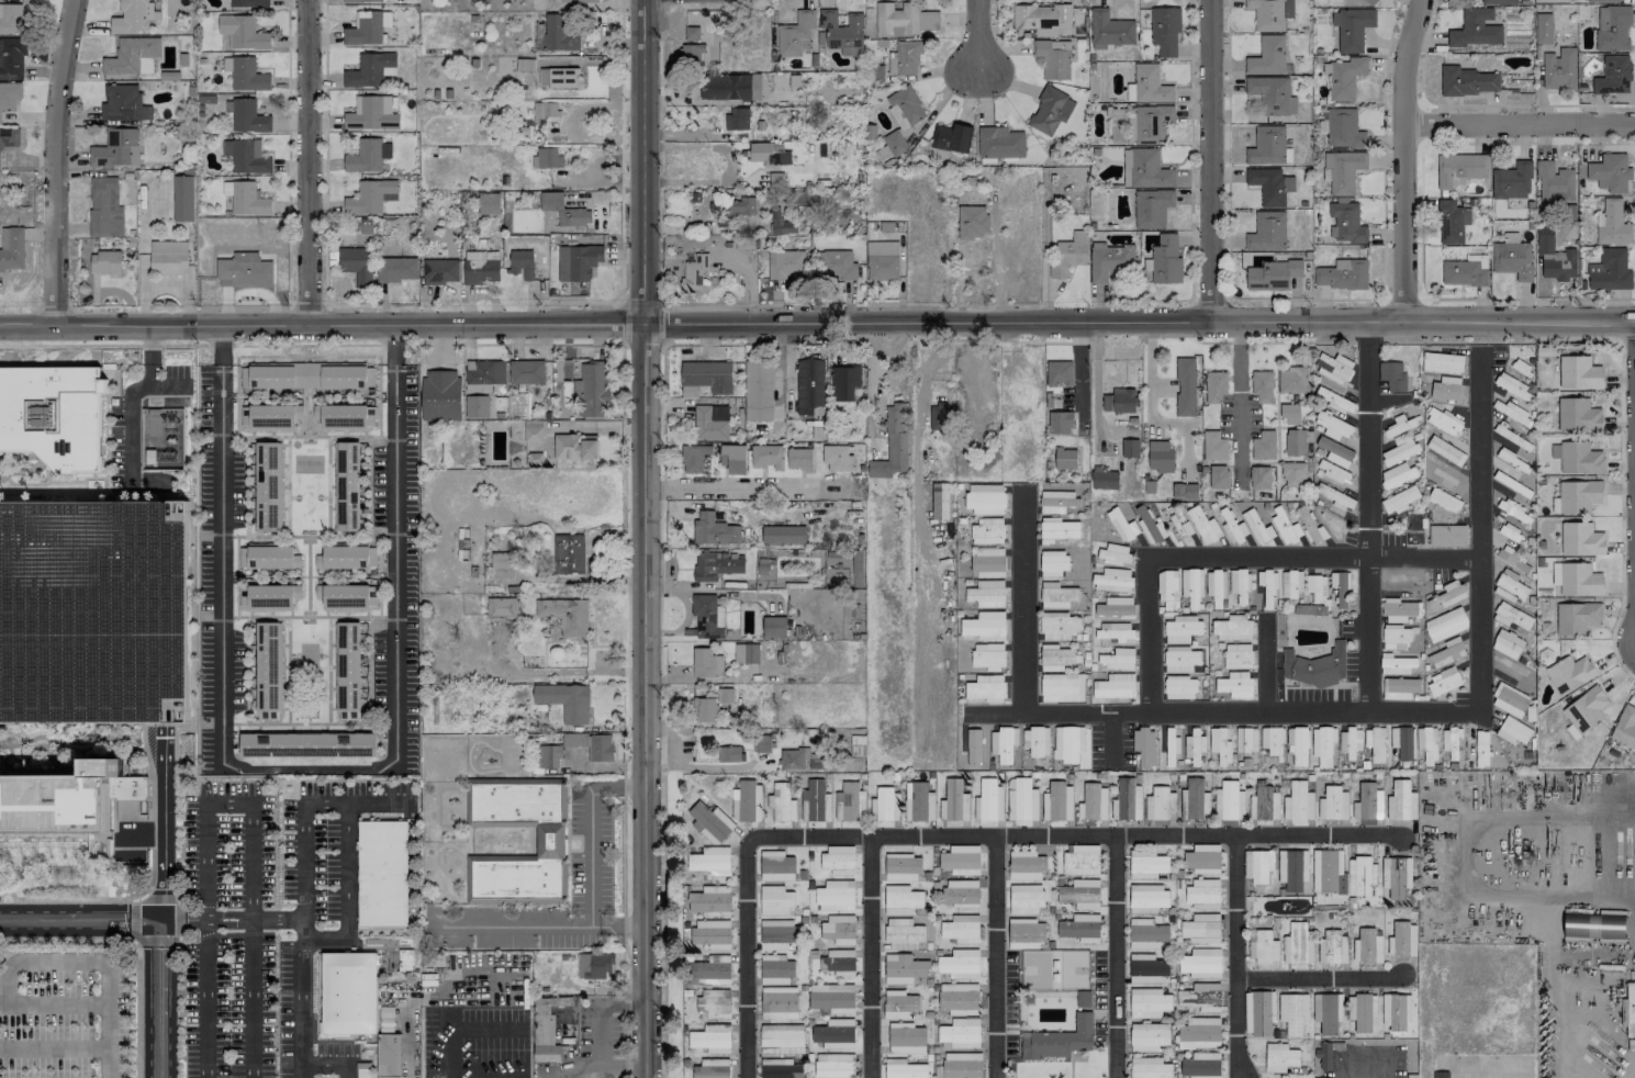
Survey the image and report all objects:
building: (579, 0)
building: (1601, 0)
building: (362, 1)
building: (1498, 2)
building: (248, 3)
building: (1269, 13)
building: (15, 16)
building: (134, 16)
building: (1041, 16)
building: (896, 19)
building: (928, 20)
building: (367, 27)
building: (1352, 27)
building: (1544, 27)
building: (1612, 27)
building: (1476, 29)
building: (1110, 30)
building: (1165, 31)
building: (243, 32)
building: (842, 32)
building: (692, 33)
building: (558, 34)
building: (795, 34)
road: (976, 40)
building: (133, 56)
building: (1267, 56)
building: (12, 58)
building: (904, 58)
building: (1052, 60)
building: (1559, 68)
building: (370, 70)
building: (245, 74)
building: (1613, 76)
building: (558, 77)
building: (1345, 78)
building: (1468, 81)
building: (1150, 85)
building: (729, 87)
building: (1272, 94)
building: (9, 96)
building: (123, 103)
building: (905, 106)
road: (1475, 108)
building: (545, 110)
building: (1050, 111)
building: (371, 114)
building: (246, 116)
building: (737, 117)
road: (1519, 120)
building: (1152, 123)
building: (1344, 128)
building: (1130, 131)
building: (9, 137)
building: (951, 137)
building: (894, 142)
building: (999, 142)
building: (1266, 146)
building: (115, 149)
building: (769, 154)
building: (367, 155)
building: (246, 156)
building: (546, 157)
road: (1402, 159)
road: (55, 161)
road: (642, 161)
road: (1208, 162)
road: (728, 165)
road: (306, 166)
building: (1144, 169)
building: (1459, 169)
building: (1342, 171)
building: (1610, 172)
building: (1512, 181)
building: (1555, 183)
building: (1267, 184)
building: (370, 196)
building: (182, 198)
building: (806, 198)
building: (245, 199)
building: (489, 203)
building: (104, 207)
building: (1152, 207)
building: (563, 210)
building: (731, 210)
building: (1451, 221)
building: (780, 222)
building: (973, 222)
building: (1345, 223)
building: (1612, 224)
building: (1267, 232)
building: (1510, 237)
building: (11, 248)
building: (1554, 256)
building: (168, 257)
building: (1066, 257)
building: (882, 259)
building: (1165, 259)
building: (1478, 259)
building: (1512, 259)
building: (1109, 260)
building: (104, 261)
building: (578, 261)
building: (520, 263)
building: (356, 265)
building: (786, 265)
building: (837, 265)
building: (481, 267)
building: (396, 269)
building: (1610, 270)
building: (244, 271)
building: (440, 271)
building: (694, 271)
building: (1463, 273)
building: (1273, 274)
building: (1342, 274)
road: (11, 321)
road: (1138, 324)
road: (11, 327)
road: (332, 330)
road: (1143, 335)
road: (621, 341)
road: (1276, 341)
road: (1065, 343)
road: (1369, 343)
road: (158, 345)
road: (929, 362)
building: (1442, 362)
building: (1334, 368)
building: (484, 371)
building: (526, 371)
road: (662, 371)
building: (1059, 373)
building: (1579, 373)
building: (306, 375)
building: (1392, 375)
building: (705, 378)
building: (1292, 380)
road: (1096, 381)
building: (843, 382)
building: (809, 386)
road: (1153, 386)
building: (1185, 386)
building: (1214, 386)
building: (1262, 386)
building: (591, 389)
building: (1446, 389)
building: (758, 390)
road: (1242, 390)
building: (440, 395)
road: (126, 398)
road: (1621, 398)
building: (1119, 401)
building: (475, 406)
road: (305, 412)
building: (1290, 414)
building: (53, 415)
building: (1578, 415)
building: (271, 416)
building: (345, 416)
building: (938, 416)
parking lot: (136, 418)
building: (1444, 422)
building: (710, 423)
building: (1060, 423)
building: (533, 430)
road: (306, 436)
building: (1297, 441)
building: (893, 442)
building: (1213, 446)
building: (1264, 446)
building: (573, 447)
building: (1130, 448)
building: (766, 456)
road: (26, 457)
building: (694, 457)
building: (1160, 457)
building: (732, 458)
building: (837, 458)
building: (1065, 458)
building: (1580, 458)
building: (798, 459)
building: (161, 460)
road: (9, 471)
building: (1294, 474)
building: (1219, 476)
building: (1259, 478)
building: (1104, 479)
road: (49, 481)
road: (245, 485)
road: (369, 485)
building: (268, 486)
building: (347, 486)
road: (662, 489)
road: (738, 489)
building: (1184, 491)
building: (1579, 496)
building: (984, 498)
building: (1056, 501)
road: (1368, 514)
building: (1306, 519)
building: (1121, 525)
building: (1203, 526)
building: (1232, 526)
building: (1285, 526)
building: (1257, 527)
building: (1060, 529)
building: (714, 530)
building: (986, 531)
building: (1510, 532)
building: (783, 534)
building: (1447, 535)
road: (260, 536)
road: (309, 536)
road: (355, 536)
building: (1581, 539)
road: (627, 552)
building: (568, 553)
building: (1113, 554)
building: (268, 557)
building: (347, 557)
road: (1240, 558)
building: (987, 559)
building: (501, 560)
building: (1513, 560)
building: (1053, 562)
building: (716, 565)
road: (235, 575)
road: (379, 576)
building: (1577, 579)
building: (1112, 580)
building: (1290, 584)
building: (1401, 585)
building: (1509, 586)
building: (1216, 587)
building: (1191, 588)
building: (1268, 588)
building: (1317, 588)
building: (1240, 592)
building: (986, 593)
building: (1056, 595)
building: (271, 596)
building: (347, 596)
building: (1447, 596)
building: (1341, 597)
road: (1023, 603)
building: (502, 607)
building: (1115, 607)
building: (1309, 609)
building: (94, 610)
parking garage: (94, 610)
building: (1399, 610)
building: (565, 615)
road: (259, 616)
road: (355, 616)
building: (1511, 616)
building: (706, 617)
building: (1577, 617)
building: (1445, 624)
building: (773, 625)
building: (984, 626)
building: (1057, 626)
building: (1182, 628)
building: (1232, 628)
building: (1116, 631)
building: (1396, 637)
building: (1507, 643)
building: (1447, 652)
building: (746, 653)
building: (987, 654)
building: (1238, 655)
building: (1055, 658)
building: (1117, 659)
building: (1182, 660)
building: (706, 662)
road: (1268, 664)
building: (1397, 664)
building: (1314, 666)
road: (369, 669)
road: (245, 670)
building: (268, 670)
building: (347, 670)
building: (1570, 673)
building: (1444, 682)
building: (1235, 684)
building: (1115, 686)
building: (985, 687)
building: (1062, 687)
building: (1179, 687)
building: (1399, 687)
building: (725, 695)
building: (564, 700)
road: (640, 700)
building: (1509, 700)
road: (327, 701)
building: (704, 709)
road: (1396, 709)
building: (1586, 710)
road: (359, 722)
road: (250, 723)
building: (1625, 727)
building: (1513, 730)
road: (669, 734)
building: (1246, 740)
building: (1272, 740)
building: (1035, 741)
building: (1451, 741)
building: (1350, 742)
building: (1401, 742)
building: (1003, 743)
building: (1375, 743)
building: (1426, 743)
building: (307, 744)
building: (591, 744)
building: (971, 744)
building: (1323, 744)
building: (1194, 745)
building: (1297, 745)
building: (1144, 746)
building: (1221, 749)
building: (1481, 749)
building: (728, 753)
building: (548, 756)
building: (800, 759)
road: (699, 764)
road: (307, 768)
road: (661, 789)
building: (1196, 799)
building: (1022, 800)
building: (1127, 800)
building: (747, 801)
building: (918, 801)
building: (953, 801)
building: (988, 801)
building: (1057, 801)
building: (1229, 801)
building: (1401, 801)
building: (815, 802)
building: (849, 802)
building: (1093, 802)
building: (1298, 802)
building: (1333, 802)
building: (1368, 802)
building: (782, 804)
building: (1264, 804)
building: (885, 805)
building: (1160, 805)
building: (80, 806)
building: (524, 810)
road: (1476, 819)
building: (709, 820)
road: (163, 824)
road: (995, 833)
road: (1320, 833)
road: (203, 845)
road: (345, 850)
road: (590, 858)
building: (1202, 858)
building: (838, 860)
building: (961, 860)
building: (710, 861)
building: (1082, 861)
building: (1146, 864)
building: (1026, 865)
building: (1257, 865)
building: (775, 866)
building: (902, 867)
building: (1292, 868)
building: (1328, 872)
building: (382, 873)
building: (1360, 875)
building: (1396, 876)
building: (511, 877)
road: (305, 891)
building: (961, 892)
building: (1080, 894)
building: (1202, 894)
building: (836, 896)
road: (1630, 896)
road: (158, 897)
building: (1146, 898)
road: (68, 899)
building: (709, 899)
building: (1026, 899)
building: (775, 900)
building: (902, 900)
parking lot: (321, 909)
road: (276, 913)
road: (299, 917)
road: (209, 918)
road: (79, 919)
parking lot: (269, 919)
road: (276, 923)
road: (512, 925)
building: (1593, 925)
building: (960, 927)
building: (1080, 928)
building: (839, 929)
road: (377, 930)
building: (1199, 931)
road: (282, 932)
road: (234, 933)
building: (903, 933)
building: (1026, 933)
building: (1146, 933)
building: (712, 934)
building: (775, 934)
building: (1402, 939)
road: (249, 940)
road: (187, 941)
road: (134, 944)
road: (155, 944)
building: (1298, 944)
road: (60, 945)
road: (327, 946)
building: (1262, 946)
building: (1367, 946)
building: (1332, 947)
road: (996, 955)
road: (1115, 955)
road: (869, 956)
road: (91, 957)
building: (839, 962)
building: (1201, 963)
building: (960, 964)
building: (596, 966)
building: (776, 966)
building: (904, 968)
building: (1146, 968)
building: (706, 973)
road: (1320, 974)
building: (774, 980)
road: (1546, 987)
building: (348, 991)
building: (1200, 997)
road: (159, 998)
building: (832, 998)
building: (959, 998)
building: (1149, 1002)
building: (709, 1003)
building: (779, 1003)
road: (56, 1004)
building: (899, 1004)
road: (205, 1007)
road: (307, 1007)
road: (300, 1008)
building: (1631, 1009)
building: (1362, 1011)
building: (1396, 1011)
building: (1258, 1012)
building: (1294, 1012)
building: (1328, 1012)
road: (313, 1013)
road: (595, 1025)
road: (462, 1026)
building: (835, 1033)
building: (960, 1033)
building: (1199, 1033)
building: (1149, 1036)
road: (336, 1038)
building: (712, 1038)
building: (782, 1038)
building: (906, 1038)
building: (1059, 1040)
road: (54, 1046)
building: (546, 1053)
building: (1324, 1055)
building: (389, 1056)
building: (1280, 1058)
road: (331, 1064)
building: (962, 1065)
building: (1201, 1065)
road: (617, 1066)
building: (835, 1066)
road: (1365, 1067)
road: (489, 1068)
building: (780, 1068)
building: (1150, 1068)
building: (904, 1069)
building: (710, 1071)
building: (1442, 1075)

